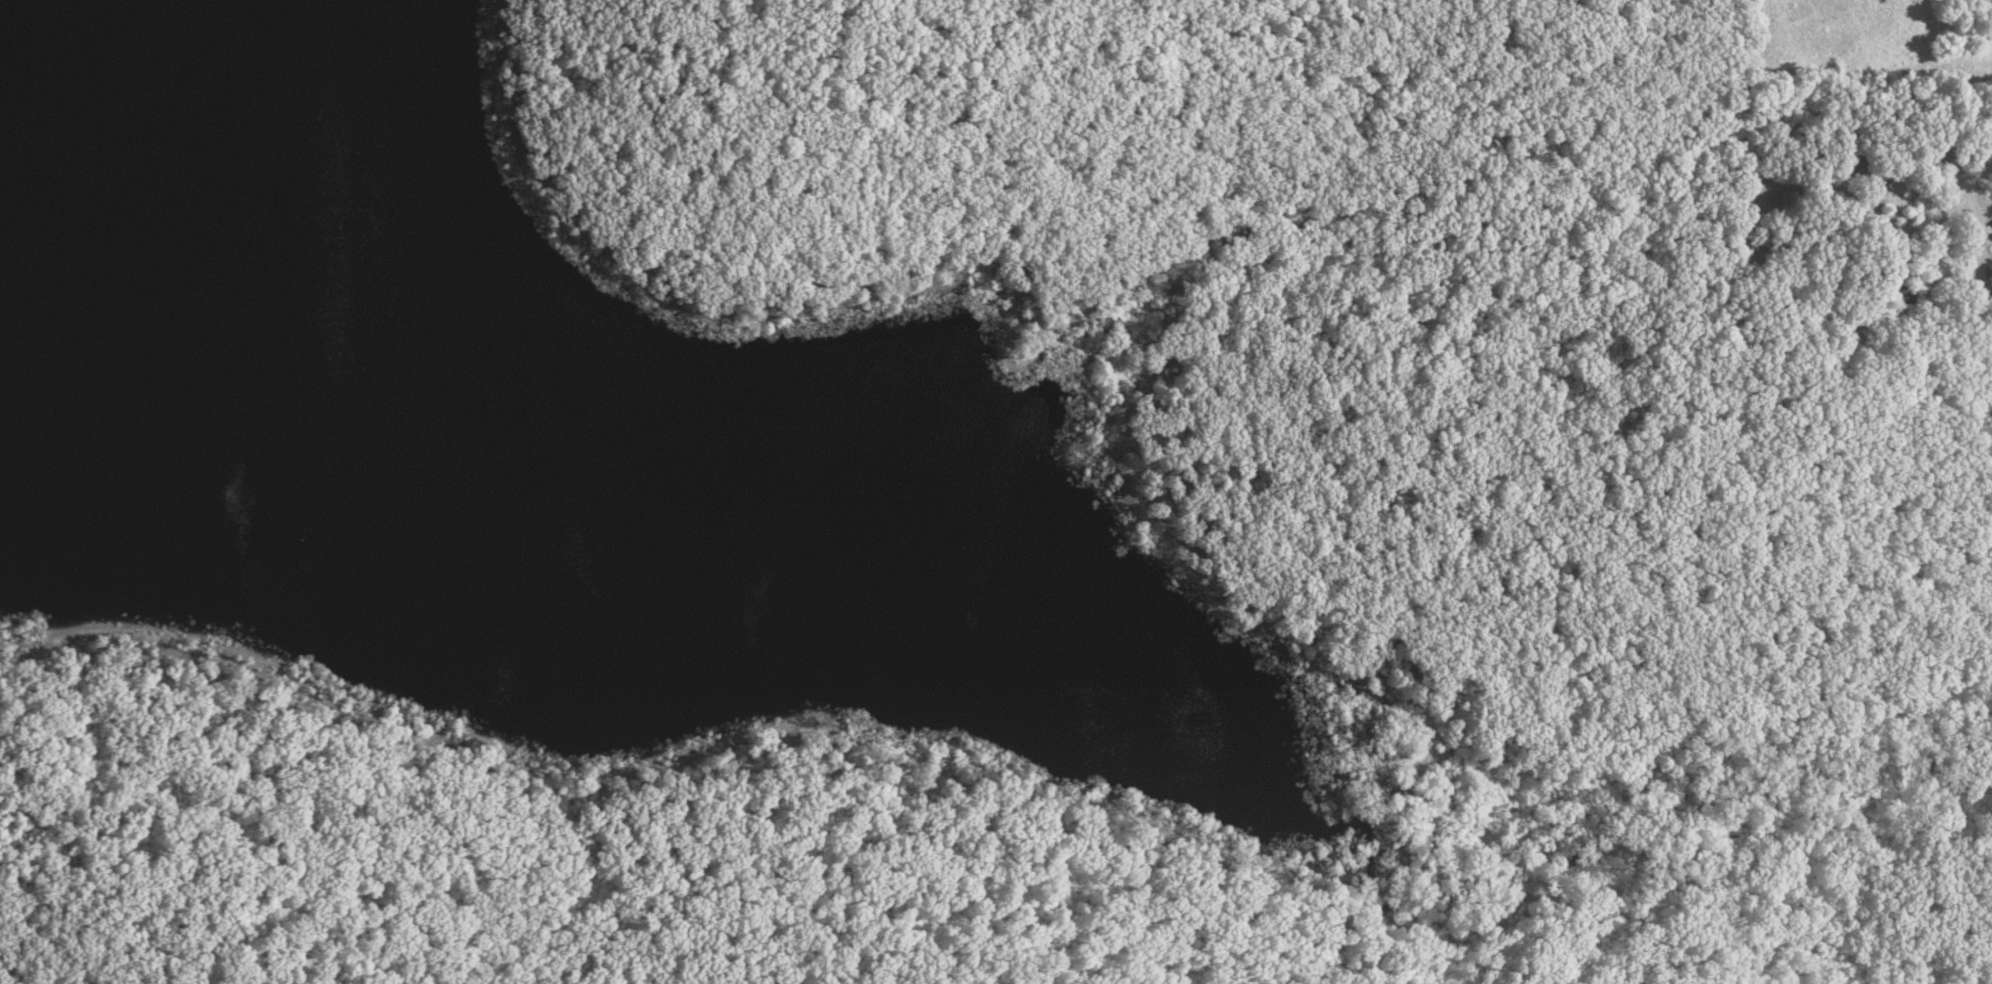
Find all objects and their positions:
road: (1782, 100)
building: (1991, 236)
building: (1901, 289)

